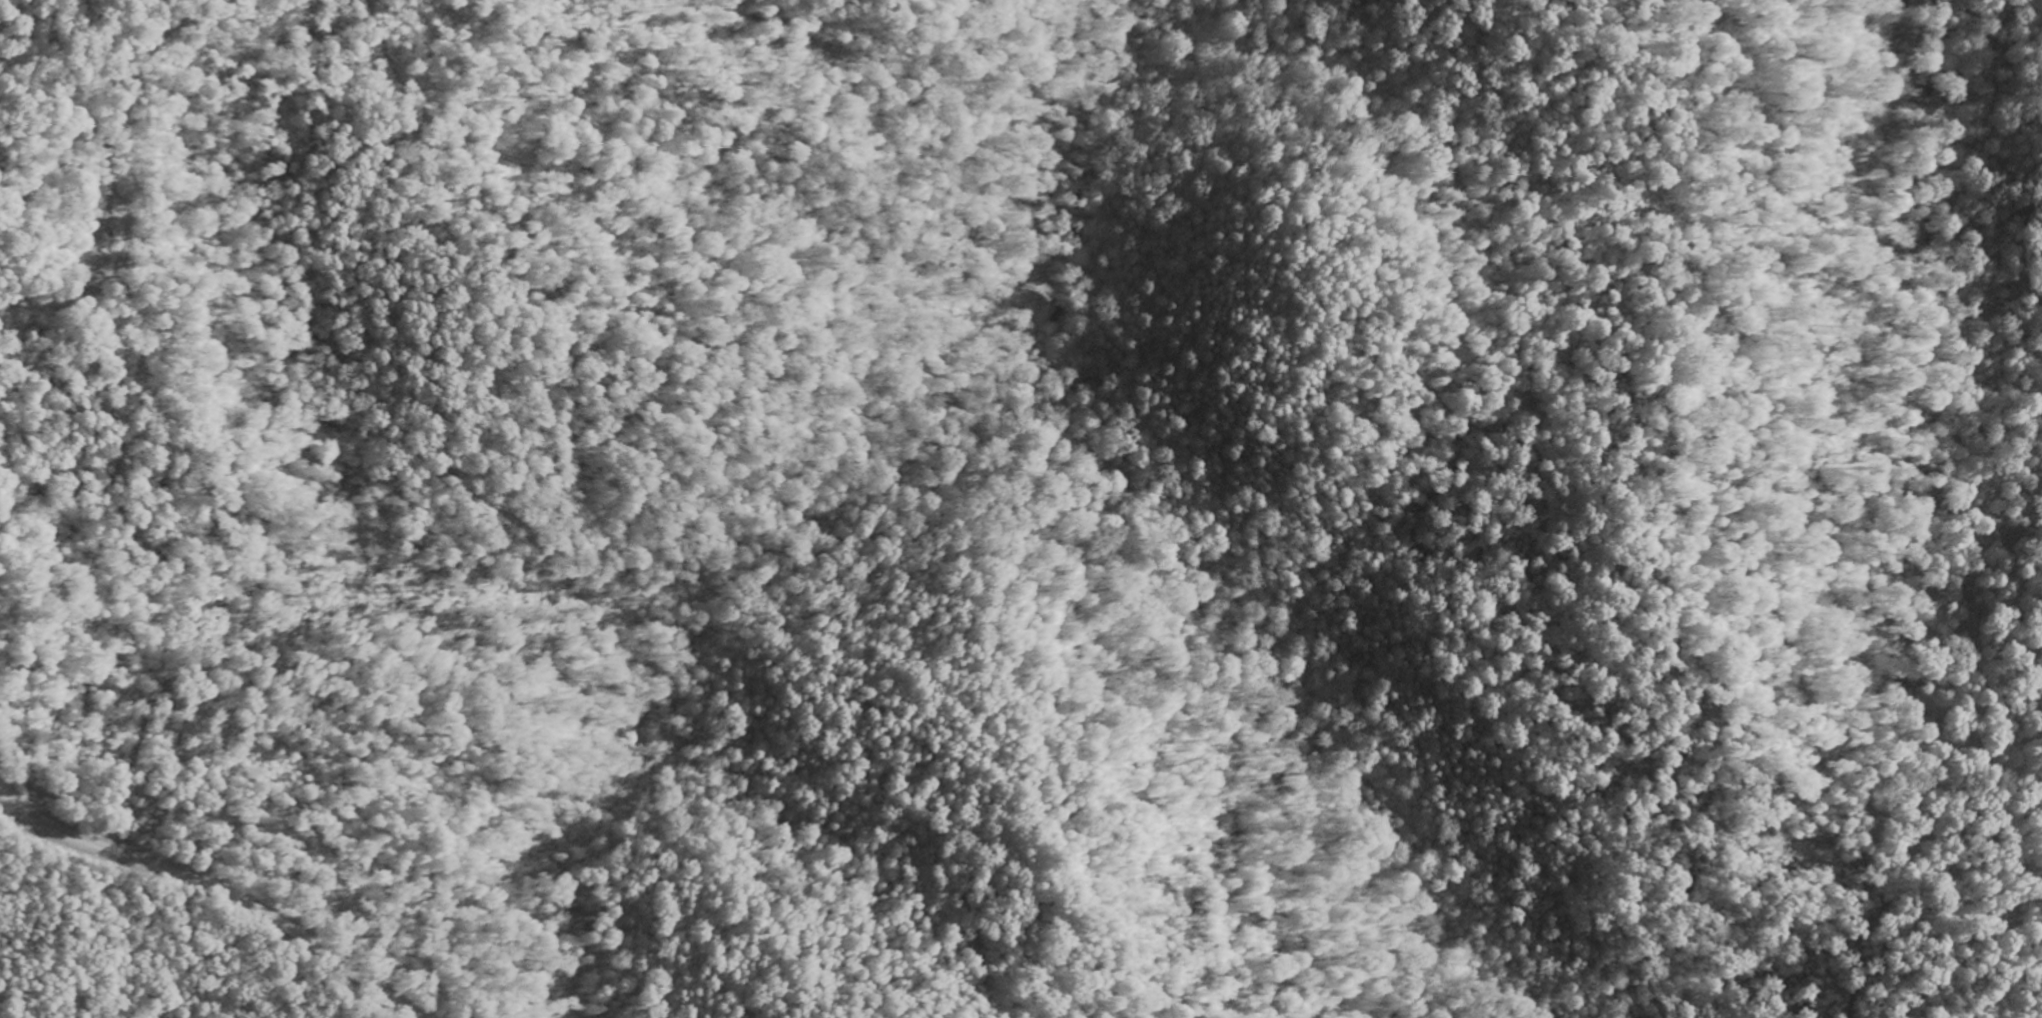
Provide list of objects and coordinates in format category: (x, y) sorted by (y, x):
road: (1312, 719)
road: (210, 886)

